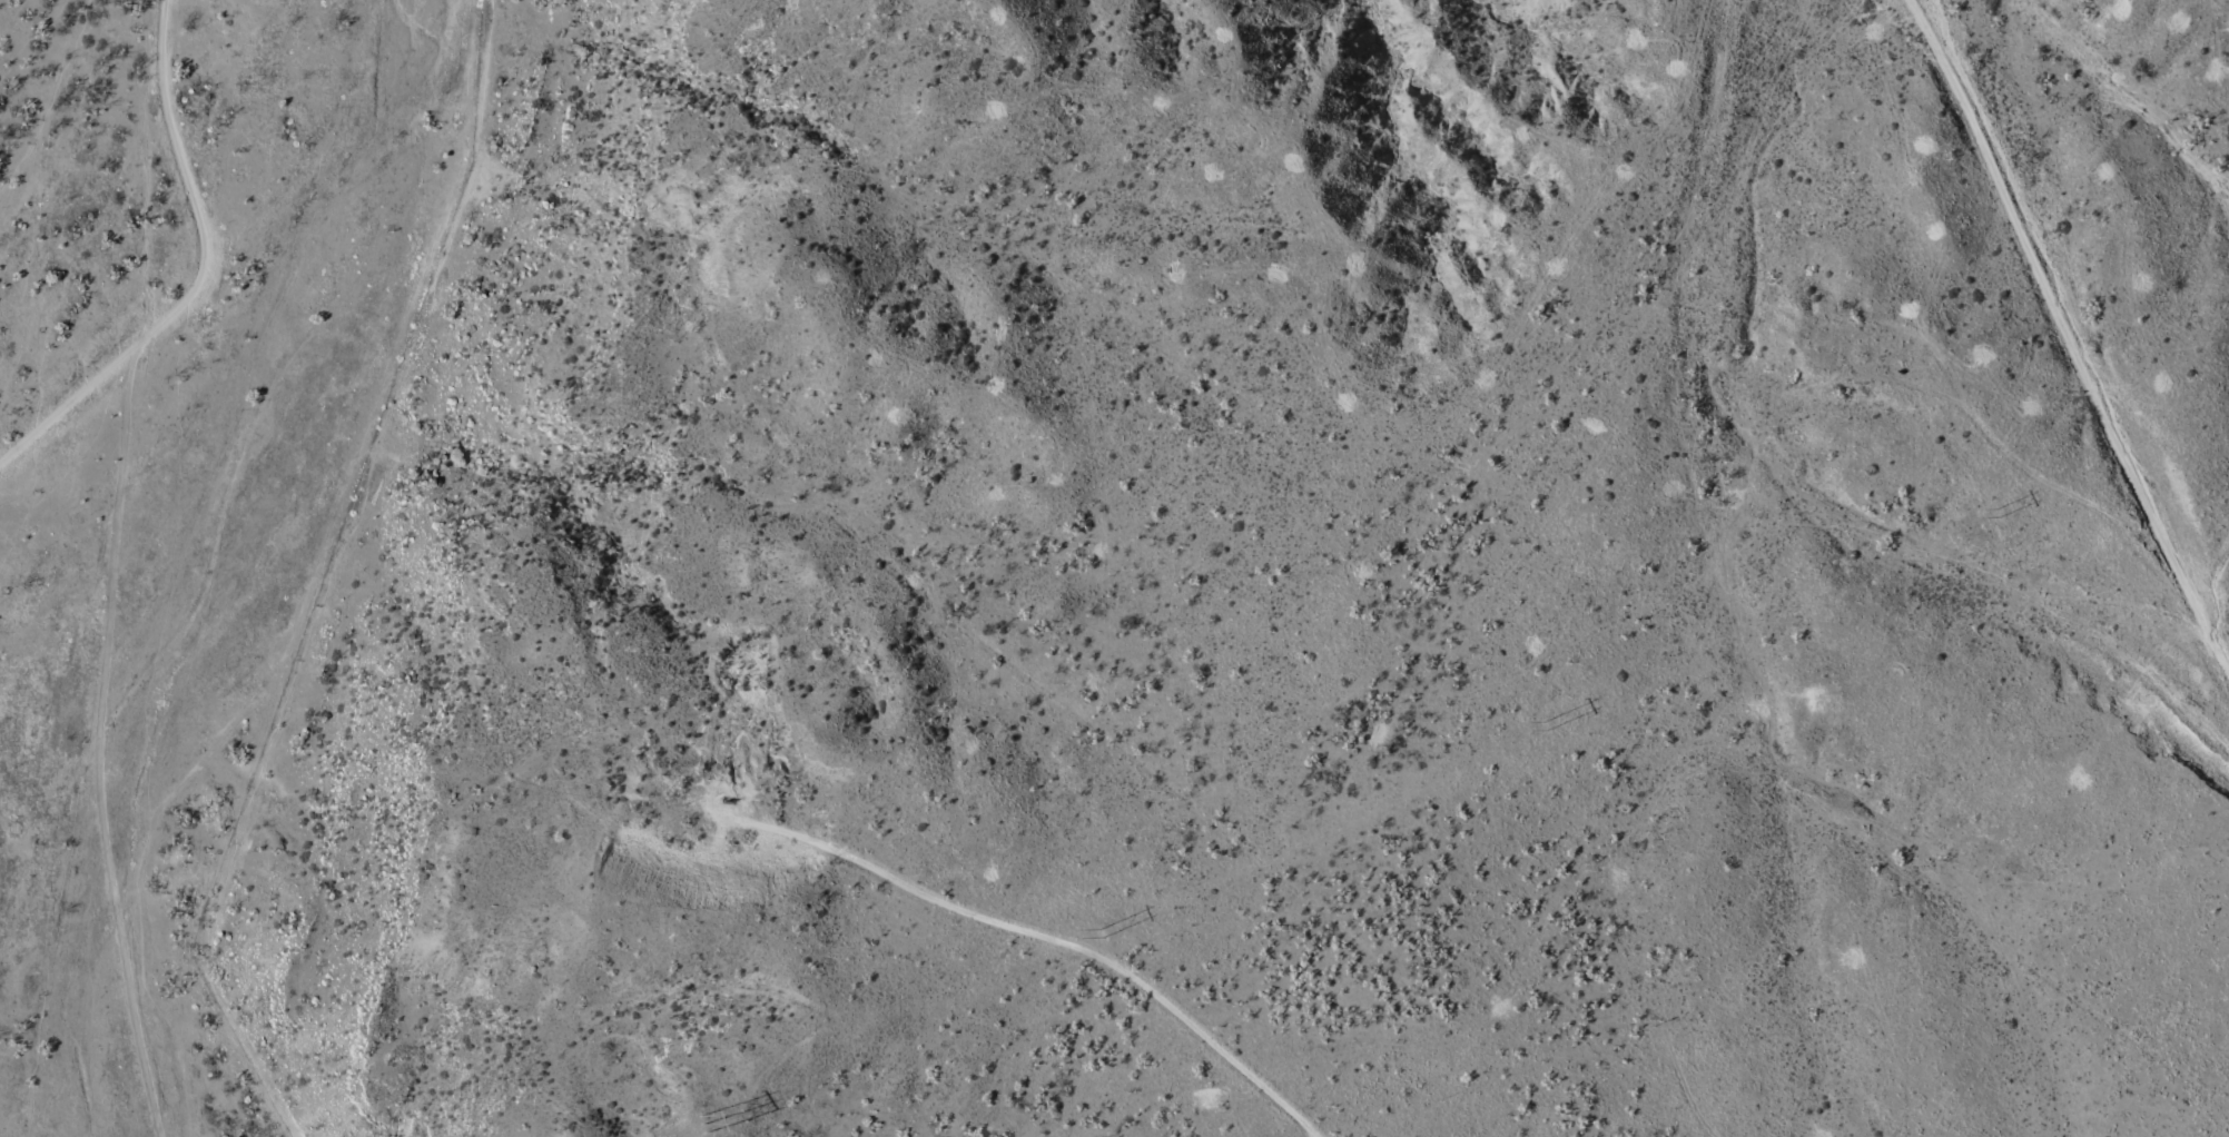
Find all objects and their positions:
power tower: (1996, 513)
power tower: (1545, 724)
power tower: (1102, 933)
power tower: (700, 1121)

